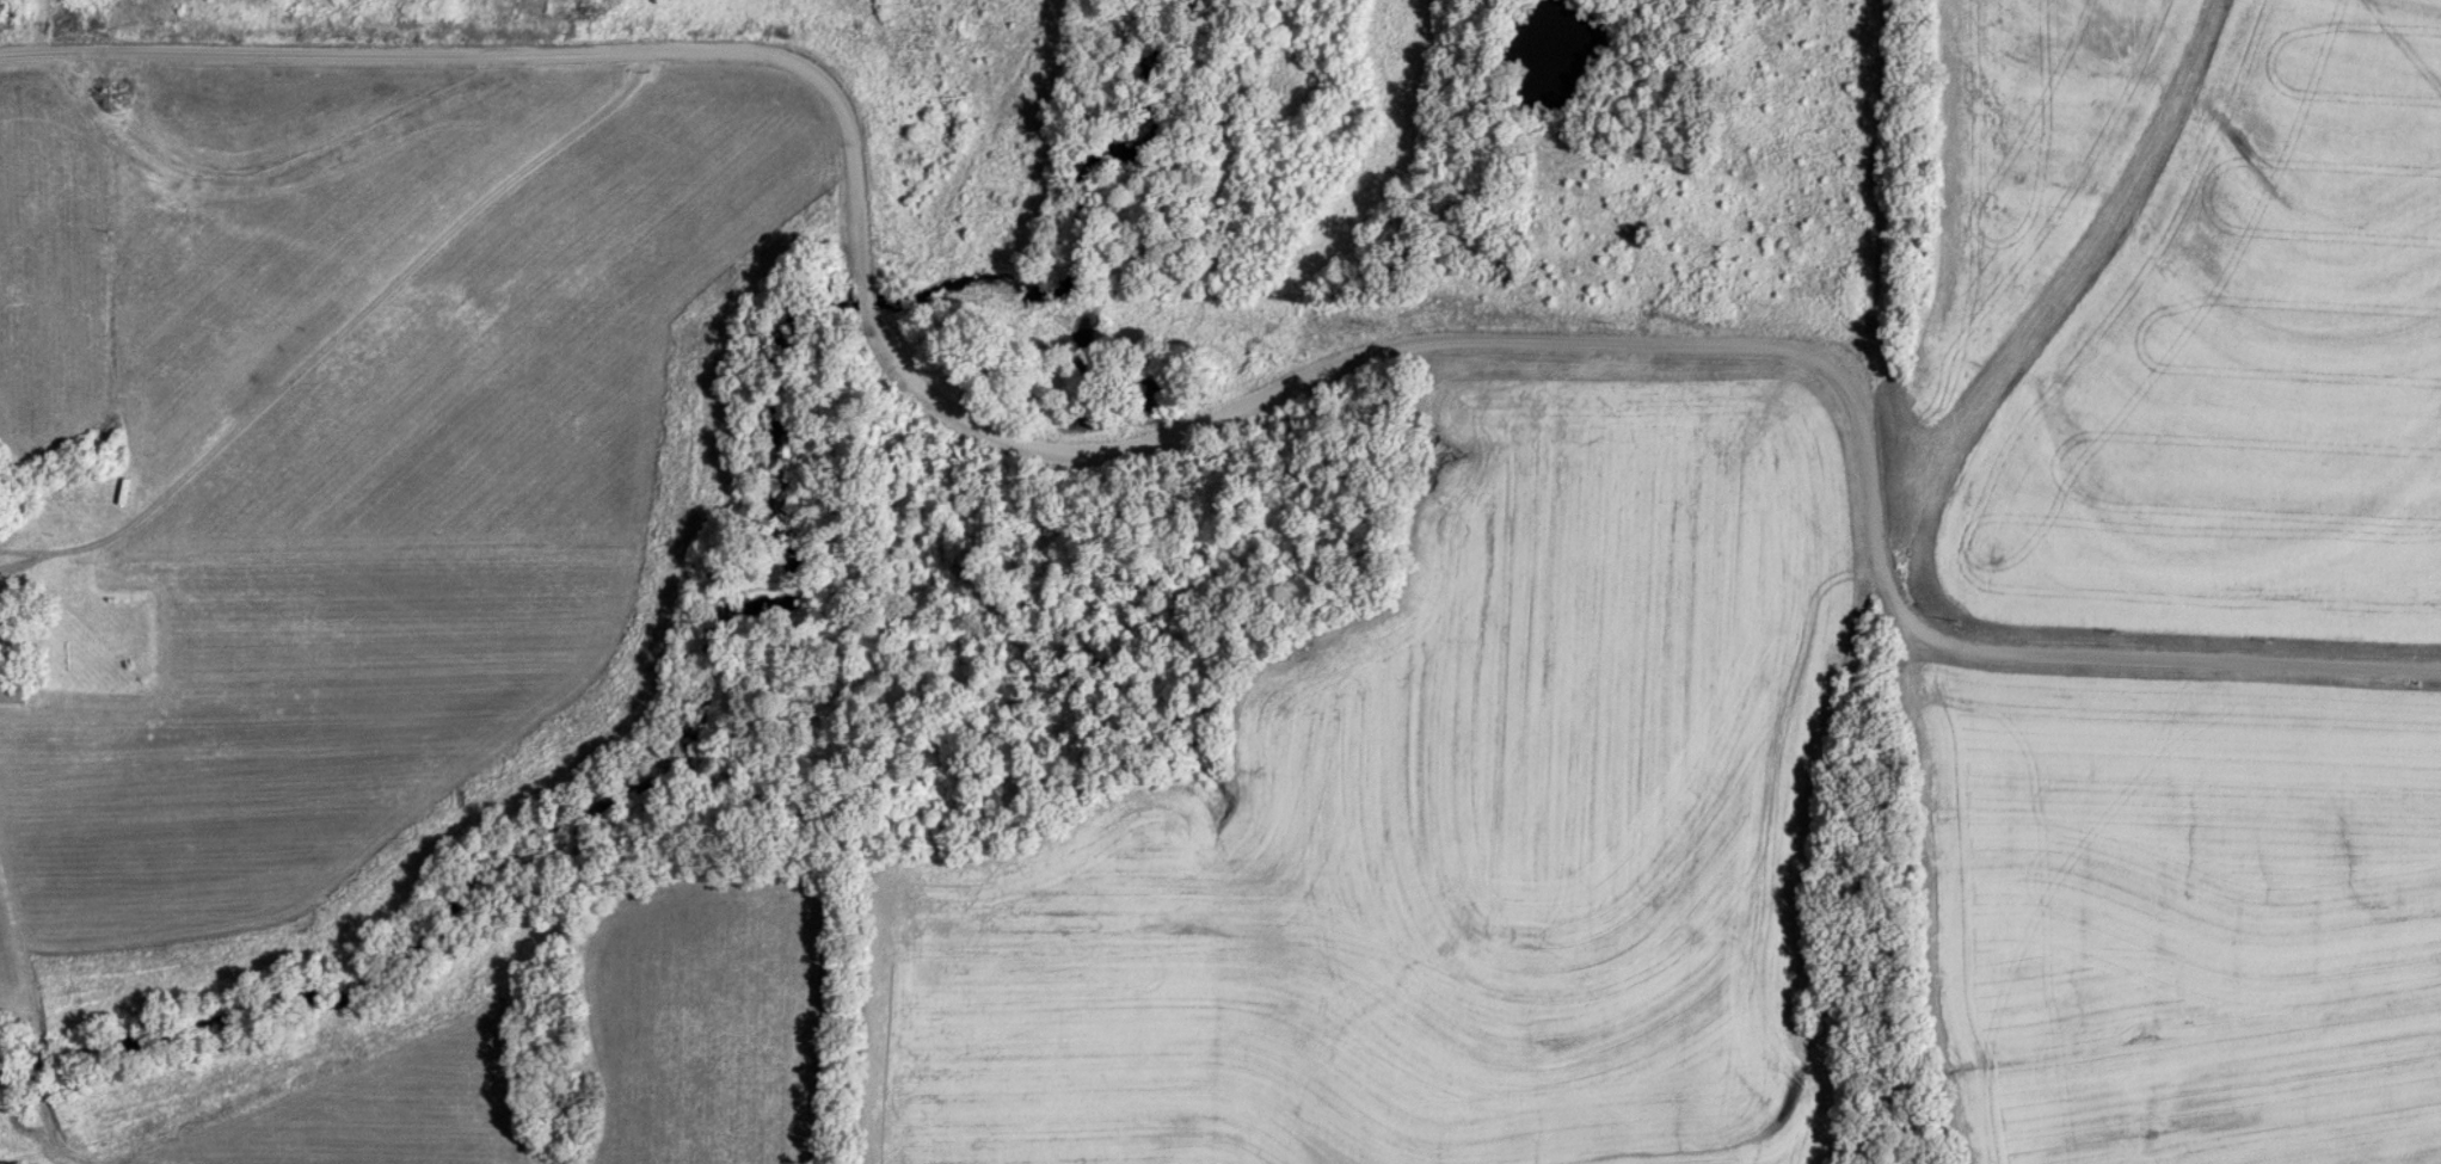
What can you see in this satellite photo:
road: (333, 326)
road: (1200, 421)
building: (5, 621)

